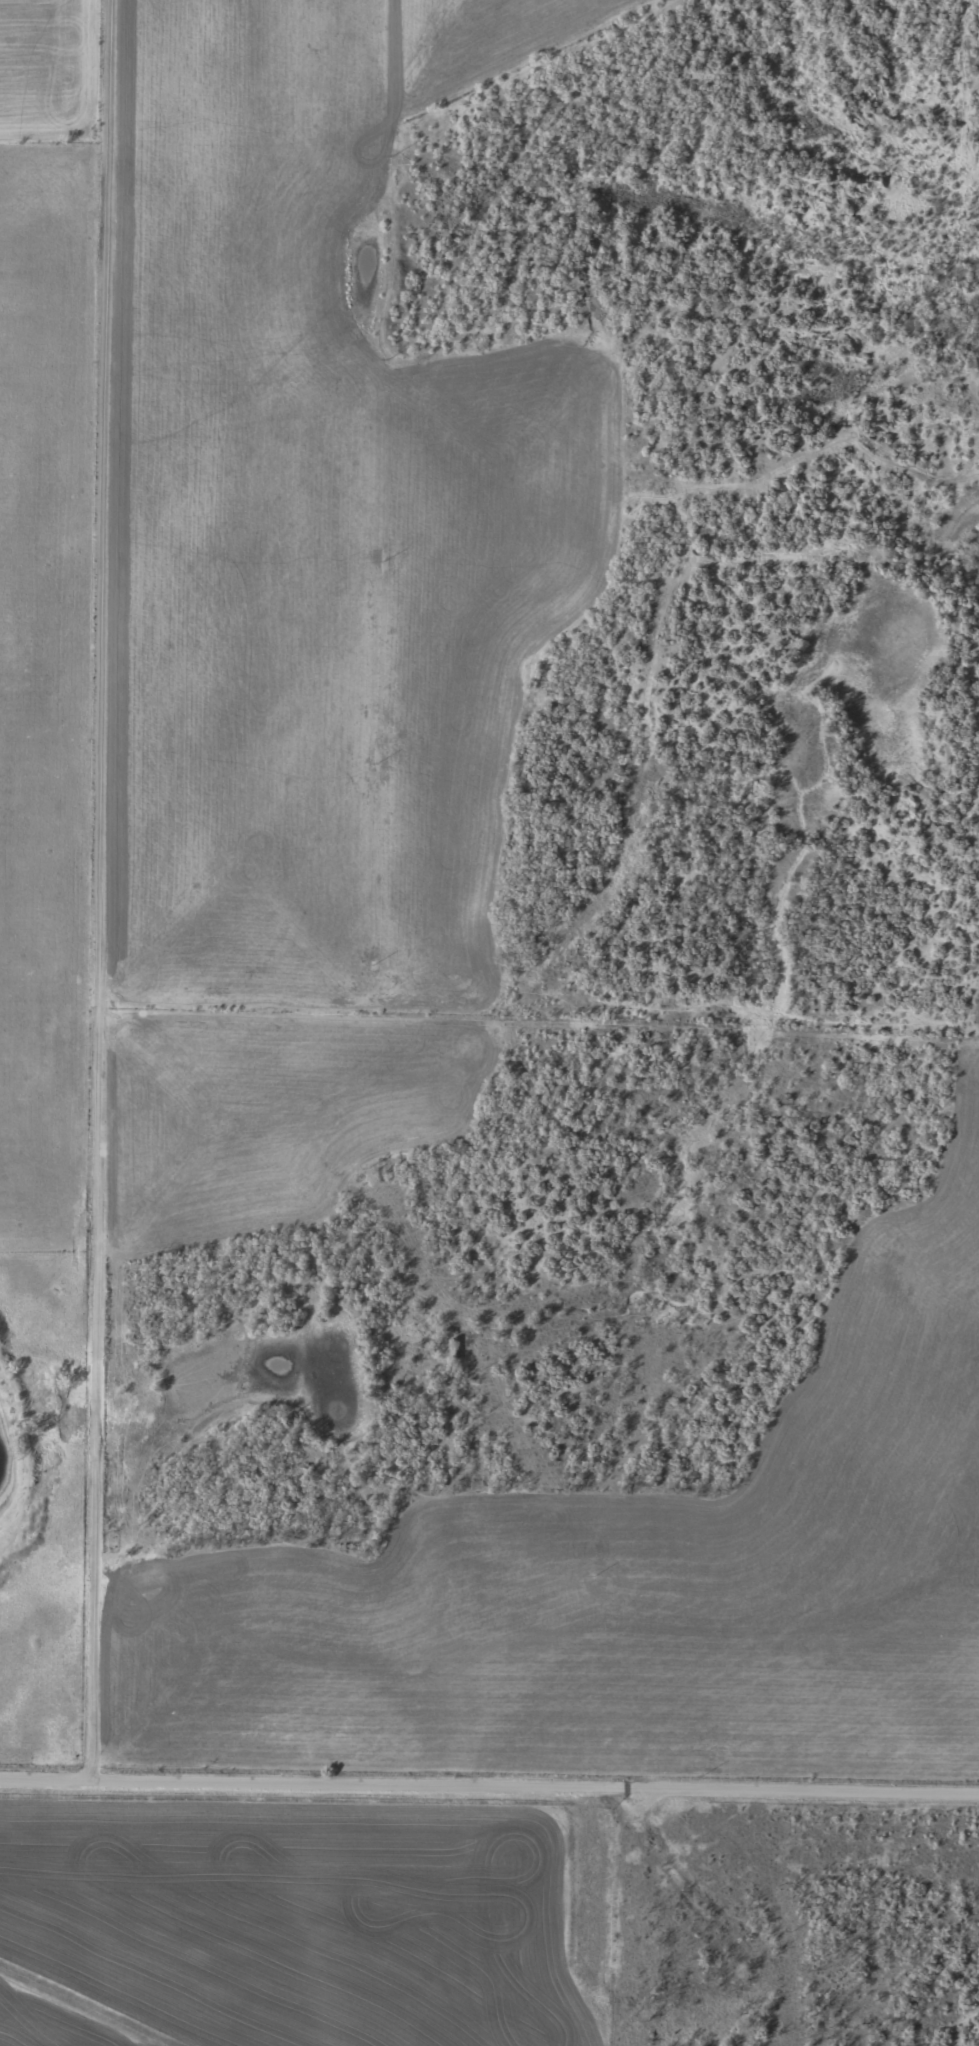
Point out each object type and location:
road: (450, 1468)
road: (489, 1803)

